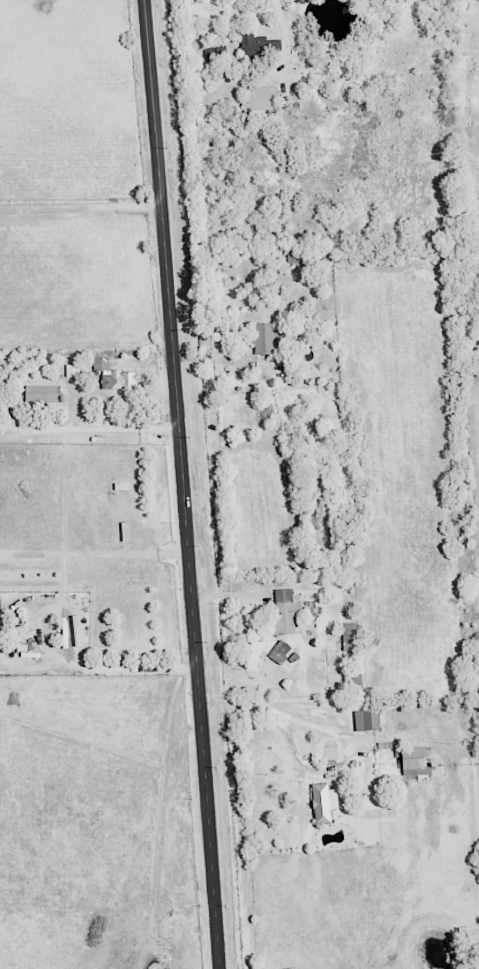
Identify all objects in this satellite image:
road: (285, 32)
building: (259, 47)
building: (262, 98)
road: (81, 207)
building: (311, 255)
building: (265, 337)
building: (72, 370)
building: (114, 375)
building: (42, 393)
road: (88, 430)
road: (181, 484)
road: (98, 555)
building: (283, 613)
building: (348, 636)
building: (279, 651)
road: (62, 658)
road: (276, 715)
building: (366, 720)
building: (384, 748)
building: (414, 760)
building: (323, 802)

